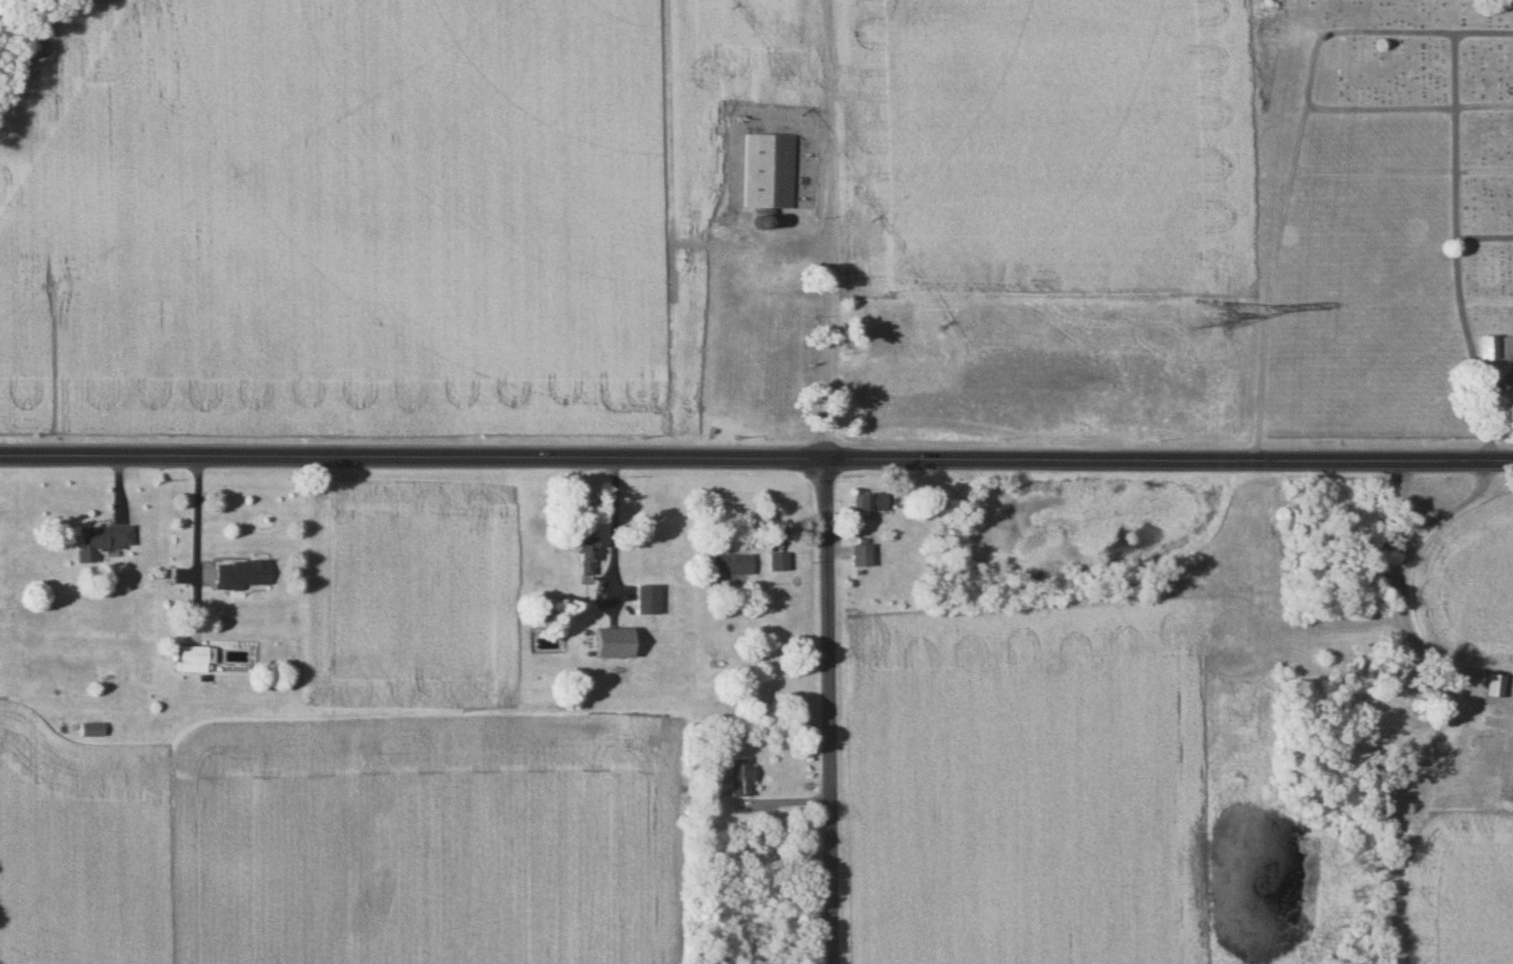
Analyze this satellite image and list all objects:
building: (768, 173)
park: (1378, 221)
road: (829, 313)
power tower: (1211, 315)
building: (882, 329)
building: (1484, 350)
building: (1506, 350)
road: (413, 457)
road: (1169, 460)
building: (866, 503)
road: (615, 533)
building: (99, 542)
building: (581, 553)
building: (859, 556)
building: (777, 562)
building: (731, 566)
building: (238, 576)
building: (645, 600)
building: (608, 643)
building: (193, 659)
building: (1492, 686)
building: (1388, 689)
road: (828, 711)
building: (90, 730)
building: (738, 778)

